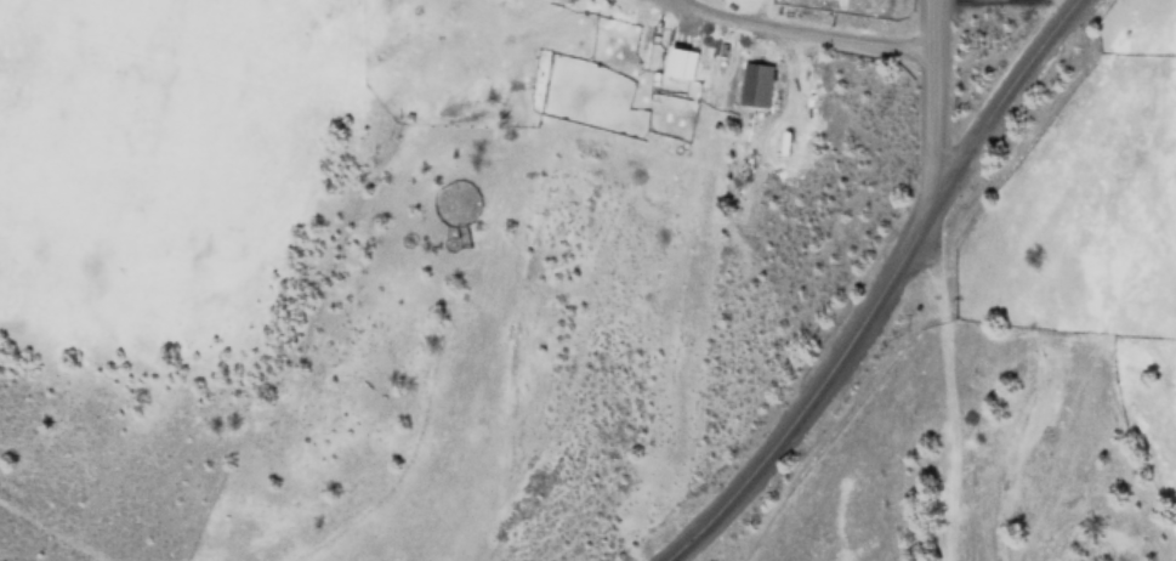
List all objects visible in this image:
building: (680, 62)
building: (755, 85)
road: (931, 101)
road: (880, 290)

